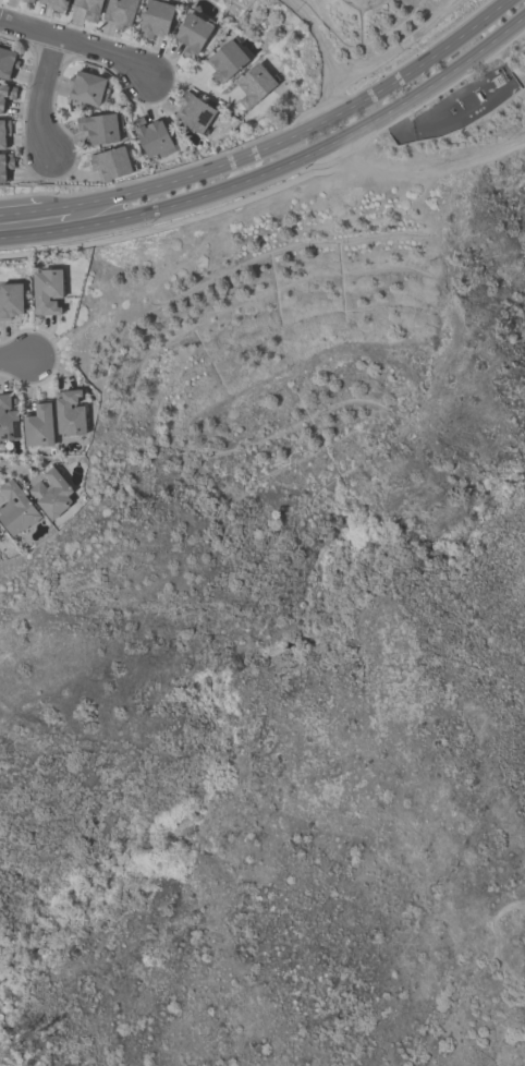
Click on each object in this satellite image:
building: (29, 0)
building: (56, 4)
building: (89, 8)
building: (118, 11)
building: (154, 17)
building: (192, 33)
road: (74, 45)
road: (398, 47)
road: (323, 52)
building: (224, 60)
building: (7, 62)
building: (253, 84)
building: (86, 86)
building: (7, 92)
road: (47, 93)
building: (194, 111)
building: (98, 126)
building: (3, 131)
road: (301, 132)
building: (151, 136)
road: (315, 149)
building: (109, 161)
building: (5, 165)
road: (426, 169)
road: (54, 208)
road: (21, 213)
road: (40, 234)
building: (46, 289)
building: (10, 299)
road: (16, 361)
building: (69, 412)
building: (8, 417)
building: (37, 424)
road: (15, 464)
building: (50, 493)
building: (15, 508)
road: (493, 941)

